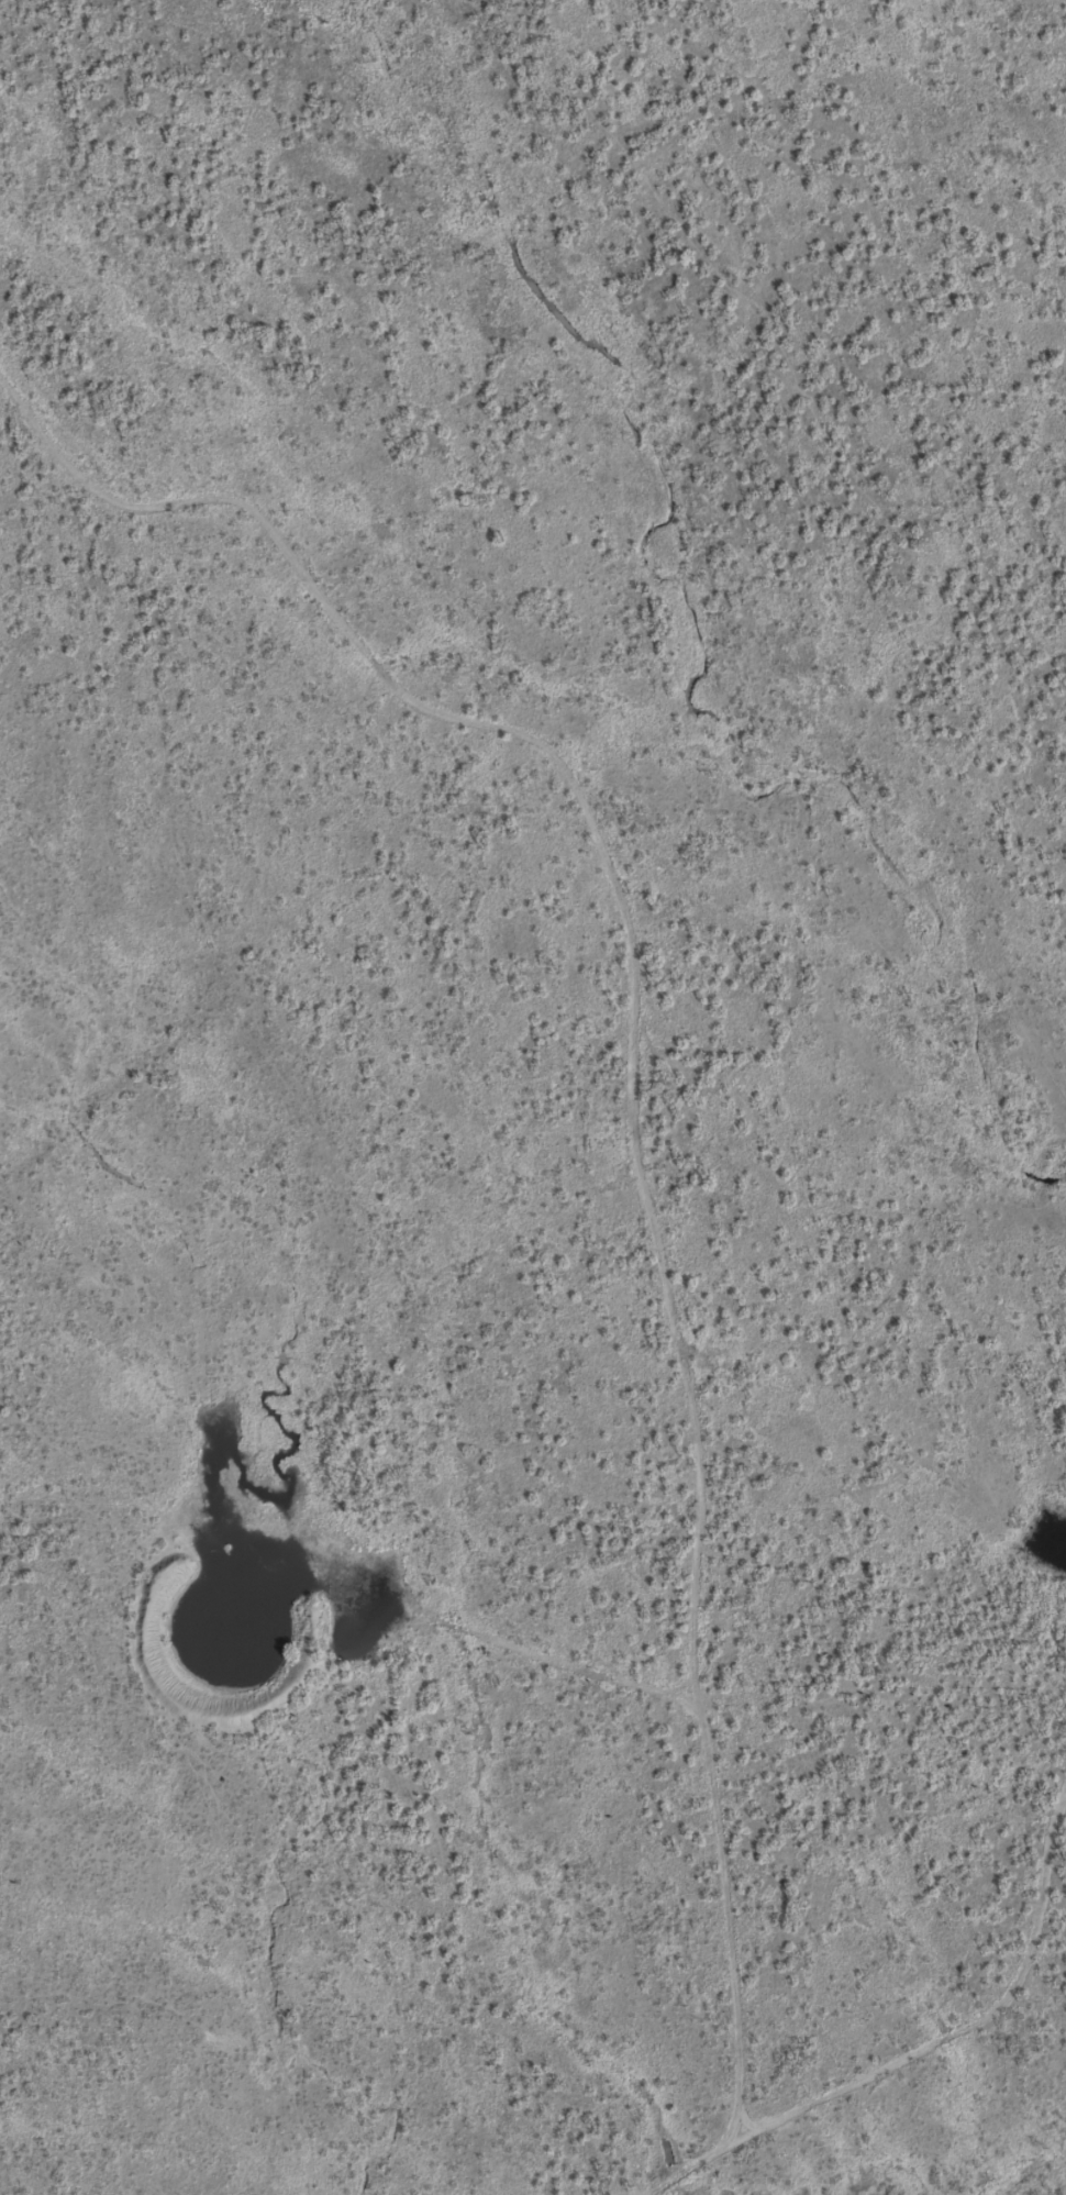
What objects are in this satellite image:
road: (946, 2050)

